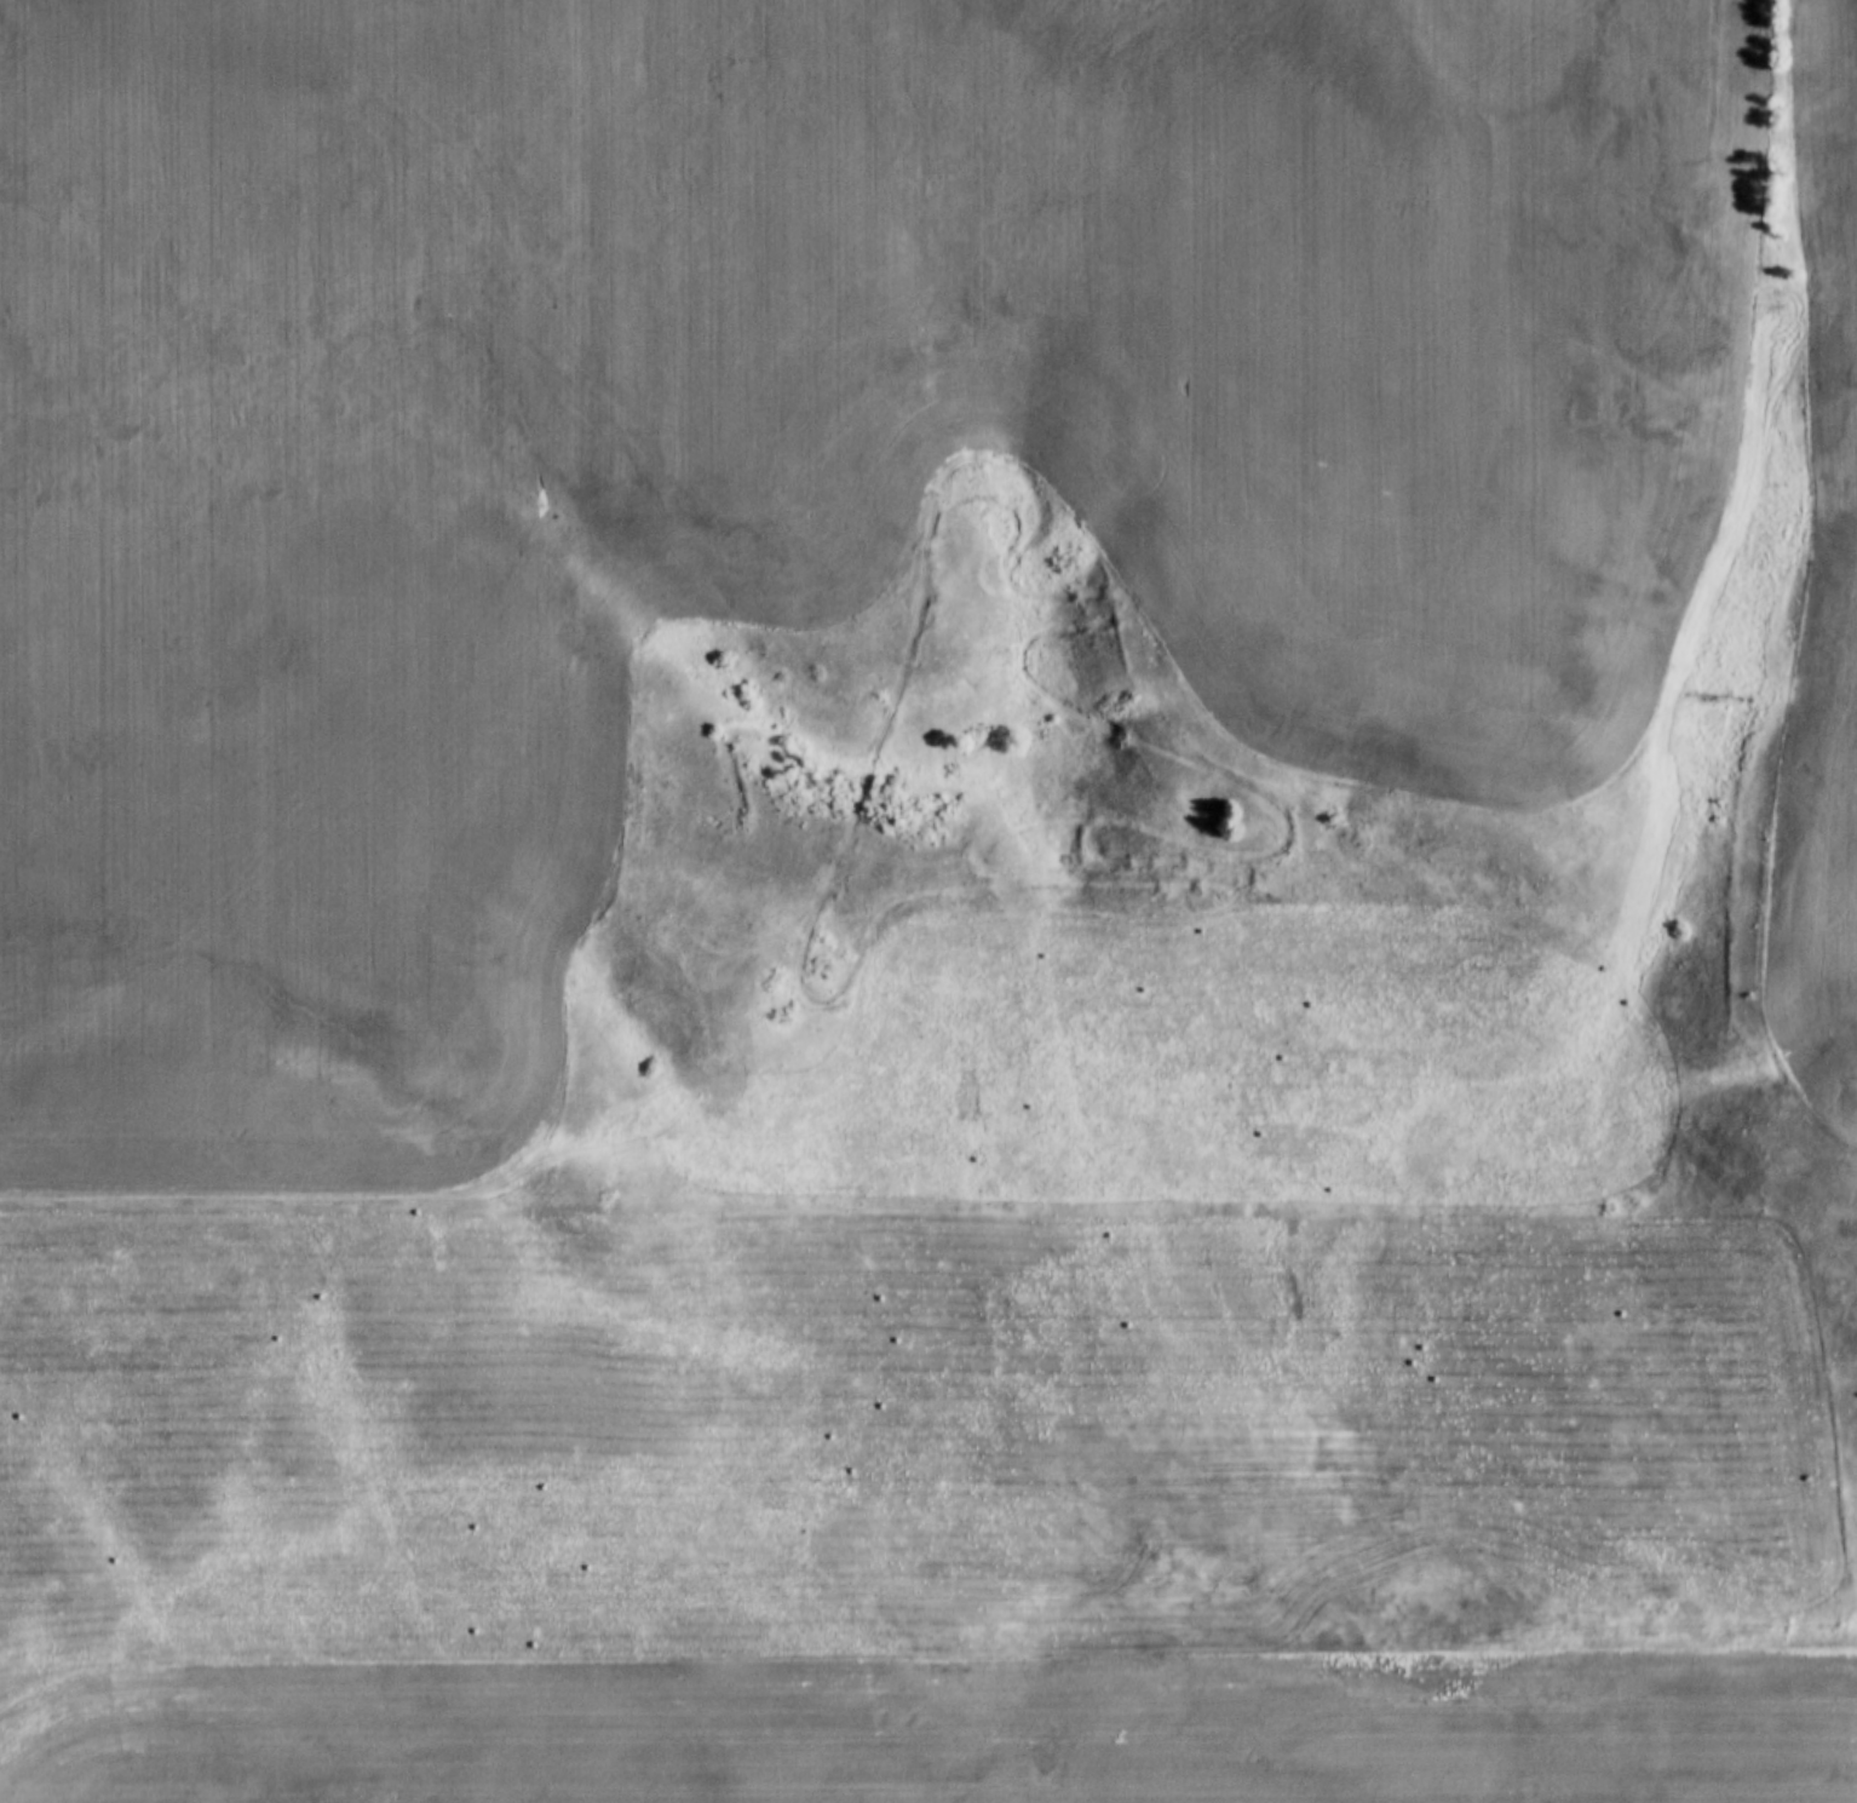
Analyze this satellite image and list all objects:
building: (332, 40)
road: (337, 1190)

